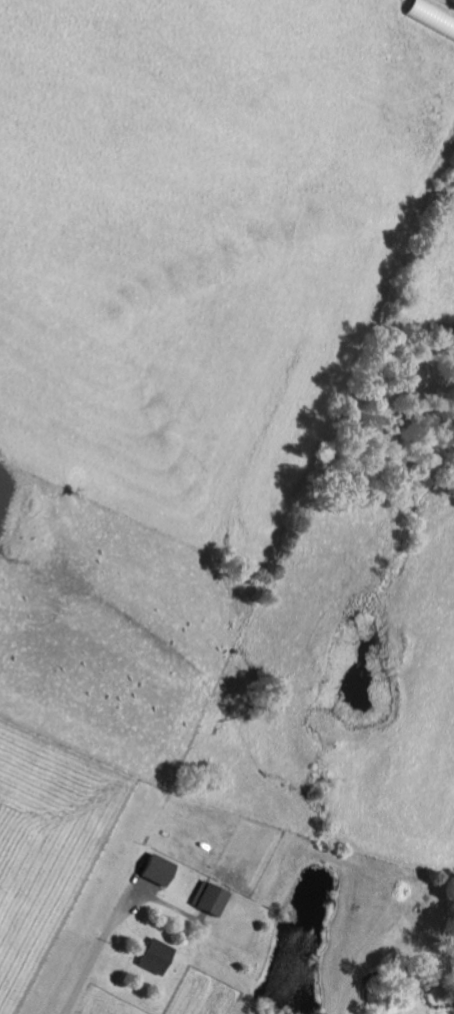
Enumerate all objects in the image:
building: (155, 869)
building: (208, 899)
building: (153, 956)

